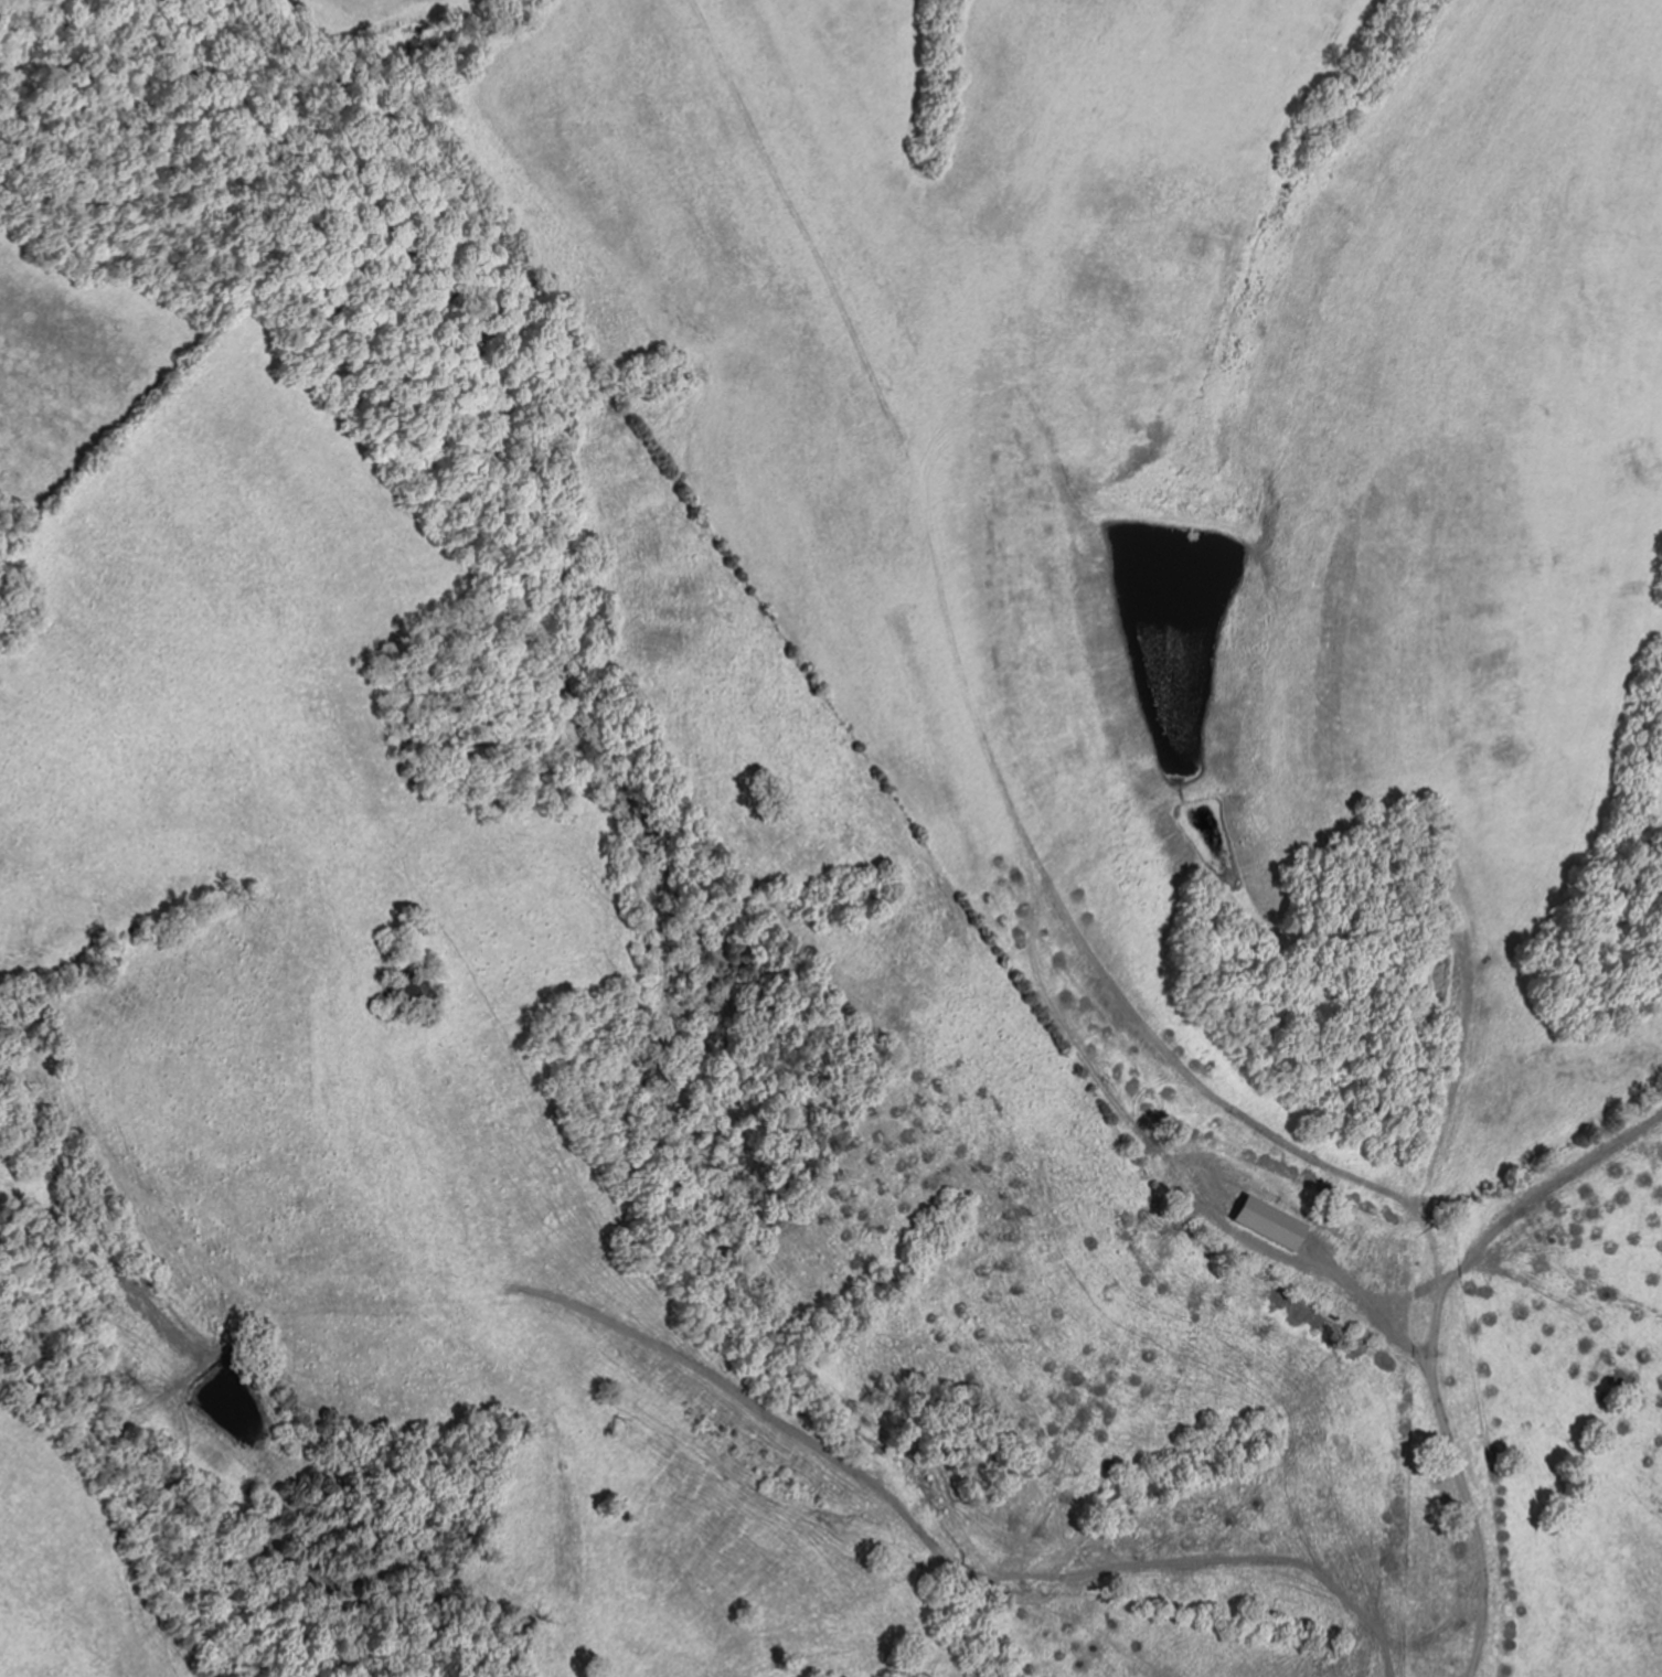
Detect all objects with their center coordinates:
road: (1435, 1658)

